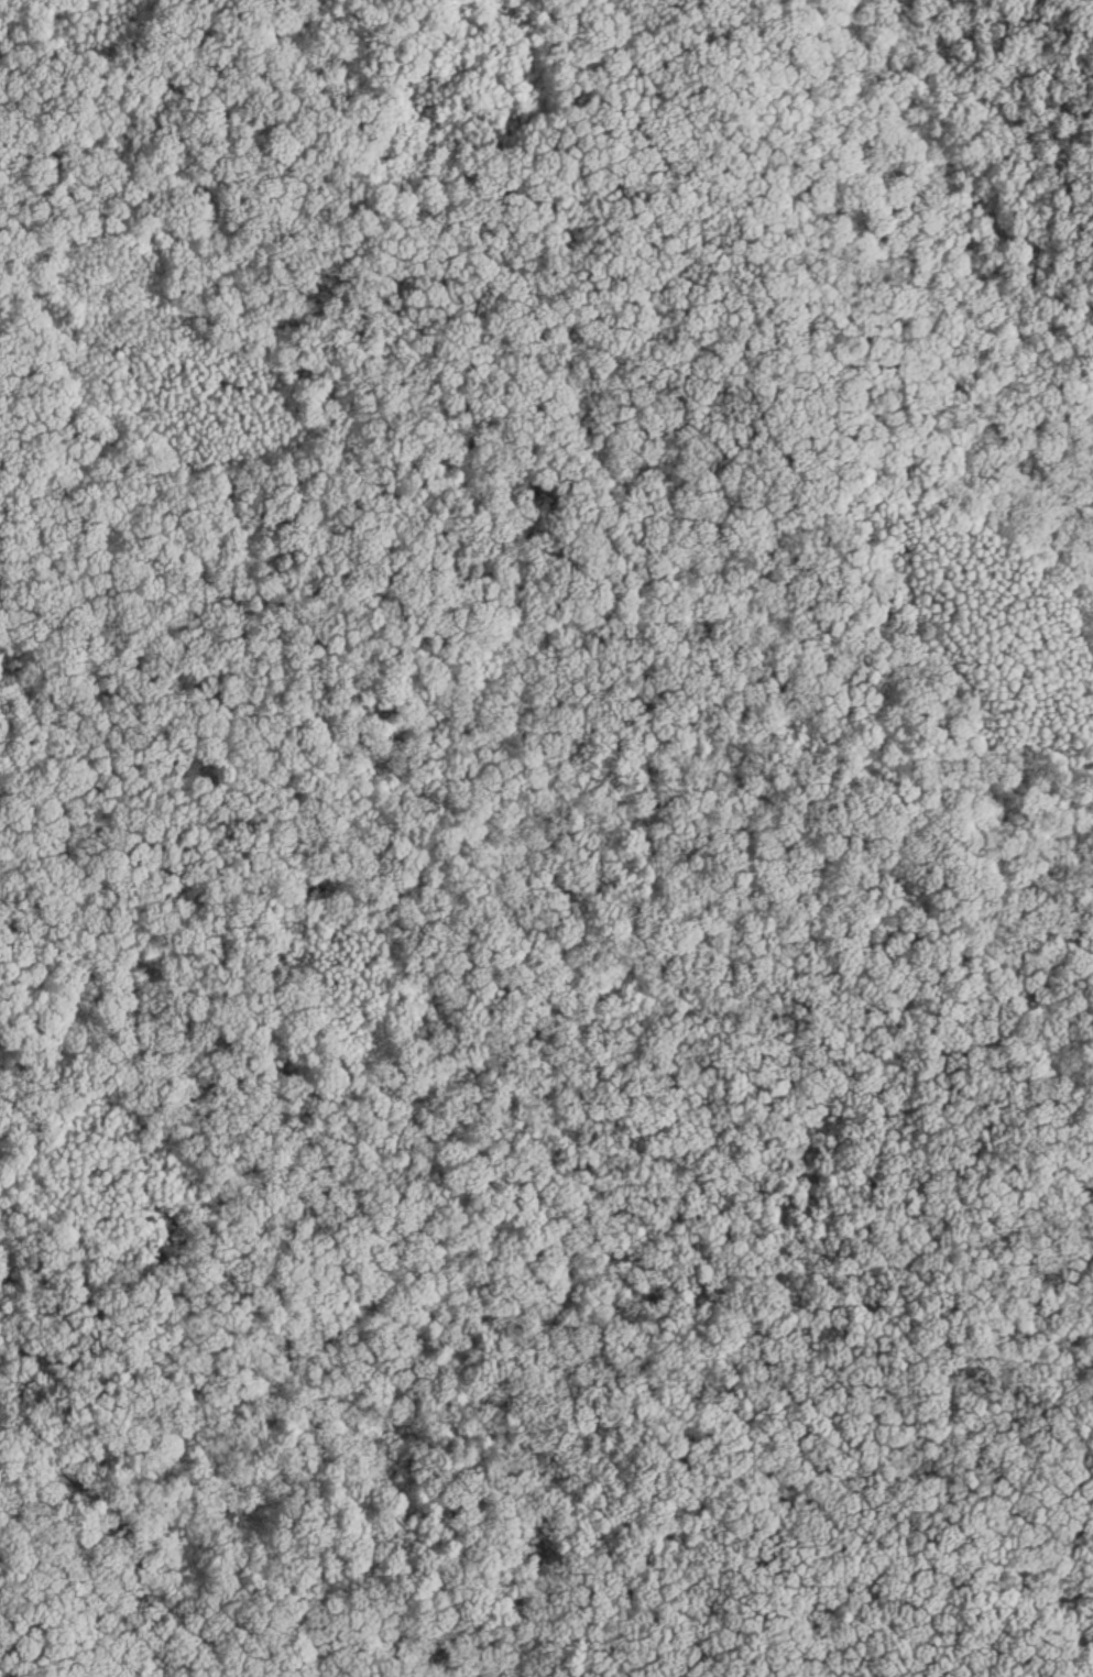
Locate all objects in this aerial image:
road: (920, 238)
road: (87, 1487)

